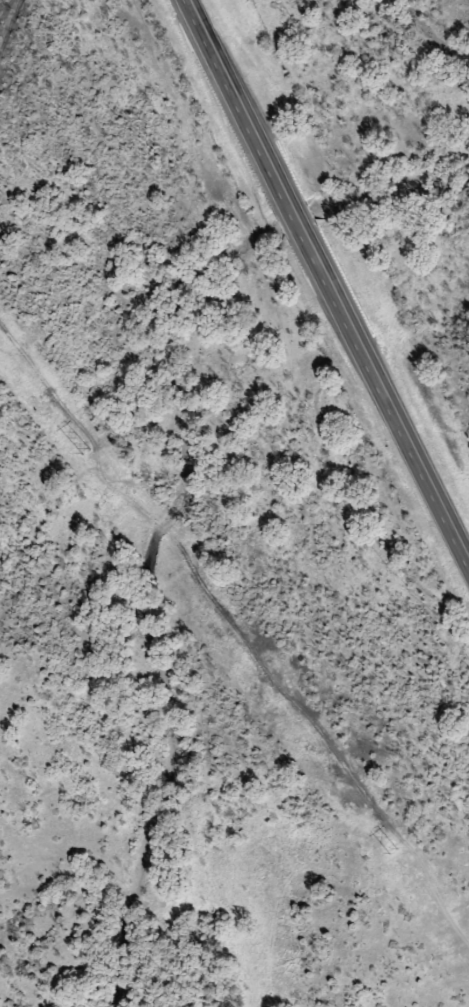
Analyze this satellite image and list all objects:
road: (6, 28)
road: (329, 277)
power tower: (85, 450)
power tower: (392, 850)

